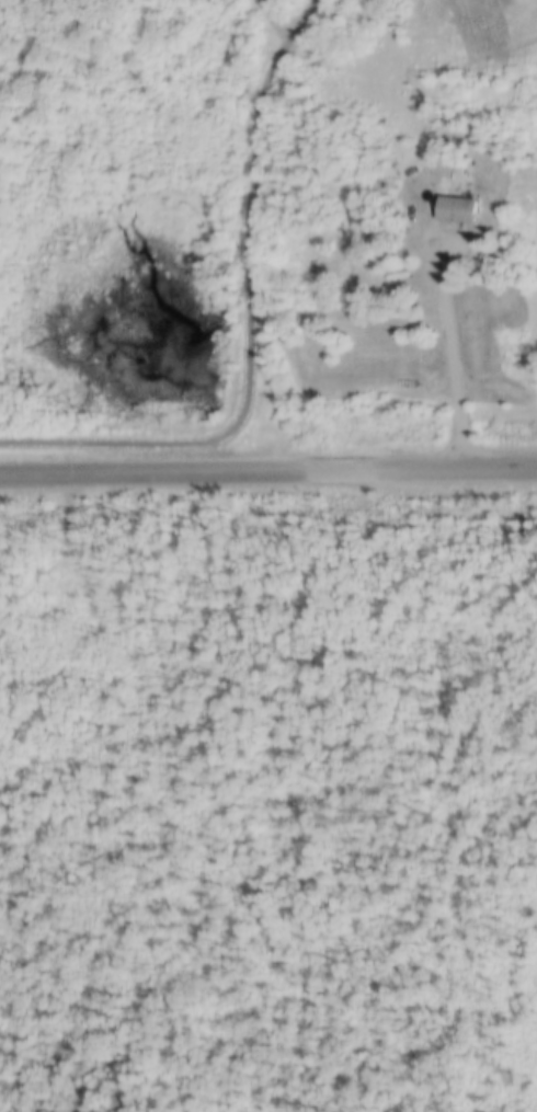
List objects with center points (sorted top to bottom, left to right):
road: (277, 15)
building: (503, 142)
building: (407, 168)
building: (380, 175)
building: (454, 205)
road: (248, 326)
road: (456, 348)
road: (267, 468)

